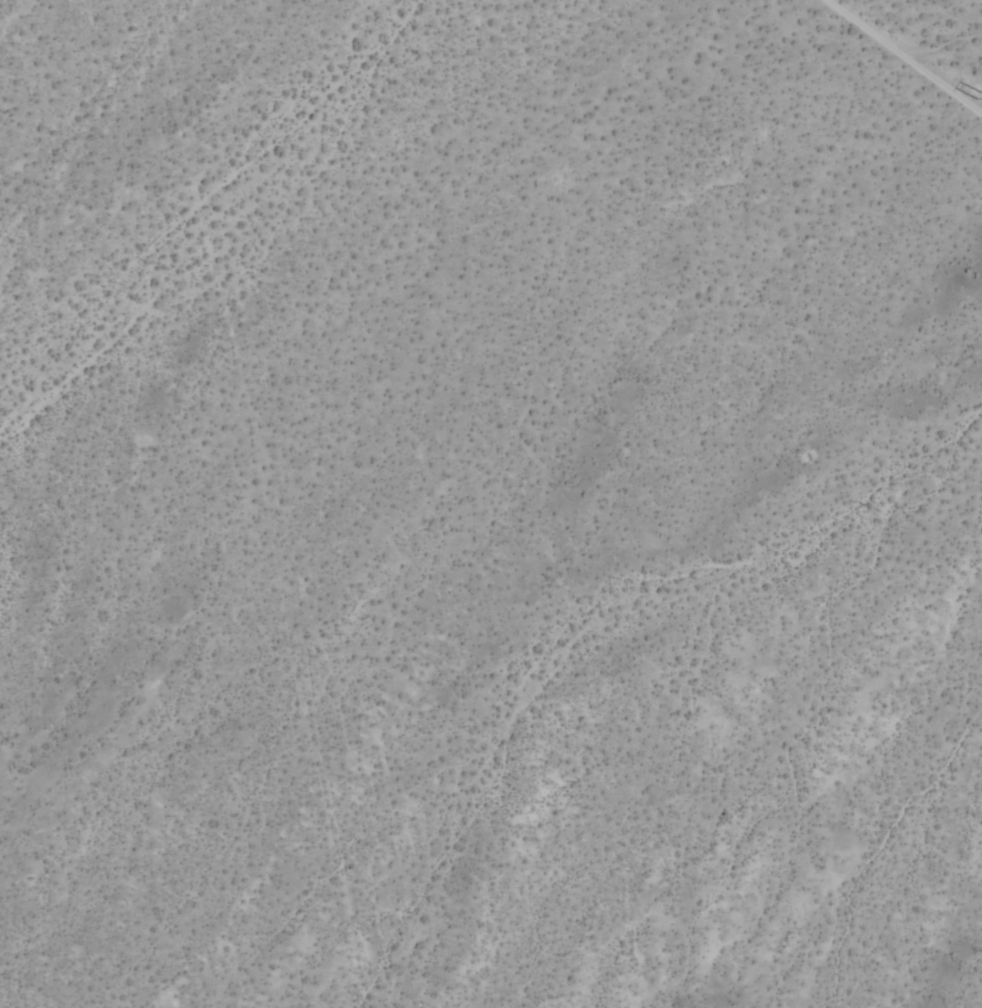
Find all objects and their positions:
road: (903, 57)
power tower: (980, 98)

